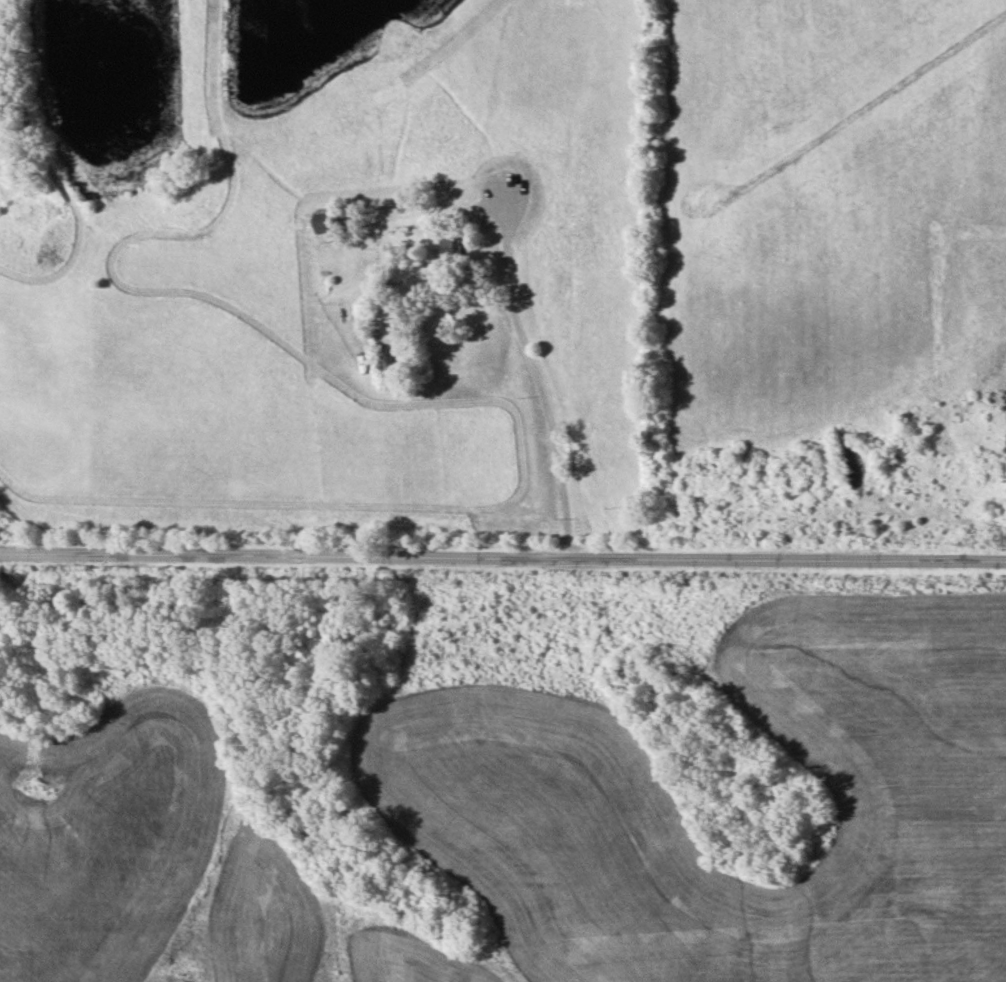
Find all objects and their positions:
building: (449, 249)
road: (535, 377)
road: (503, 555)

